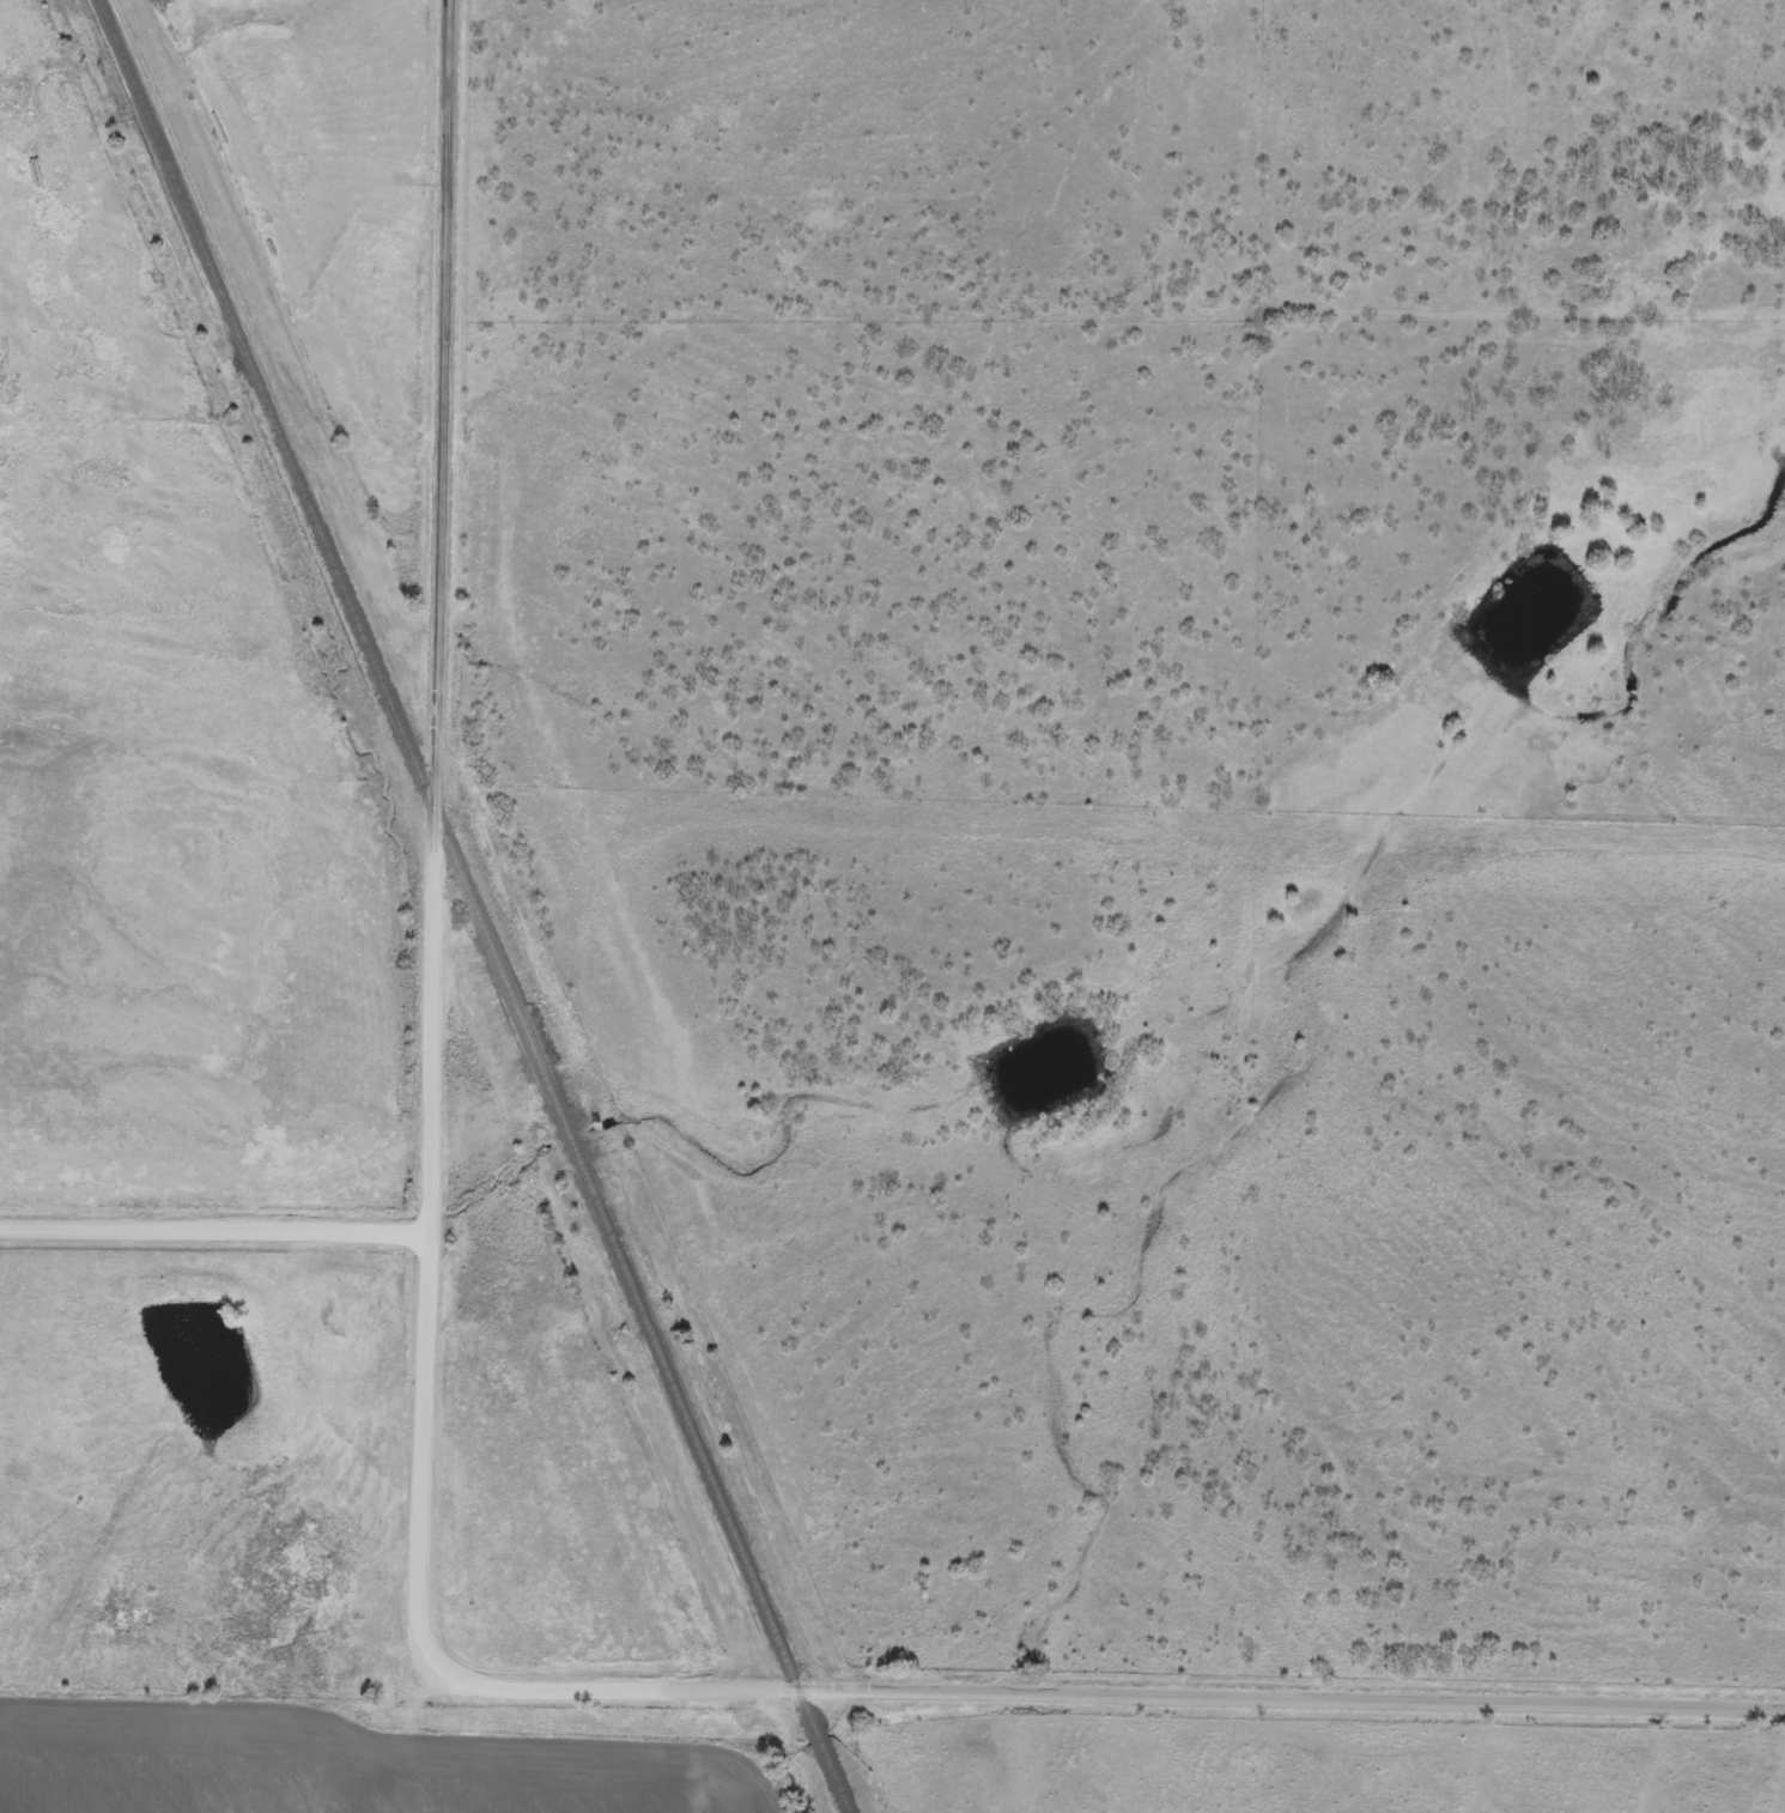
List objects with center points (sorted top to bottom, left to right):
railway: (472, 904)
road: (213, 1236)
road: (420, 1517)

